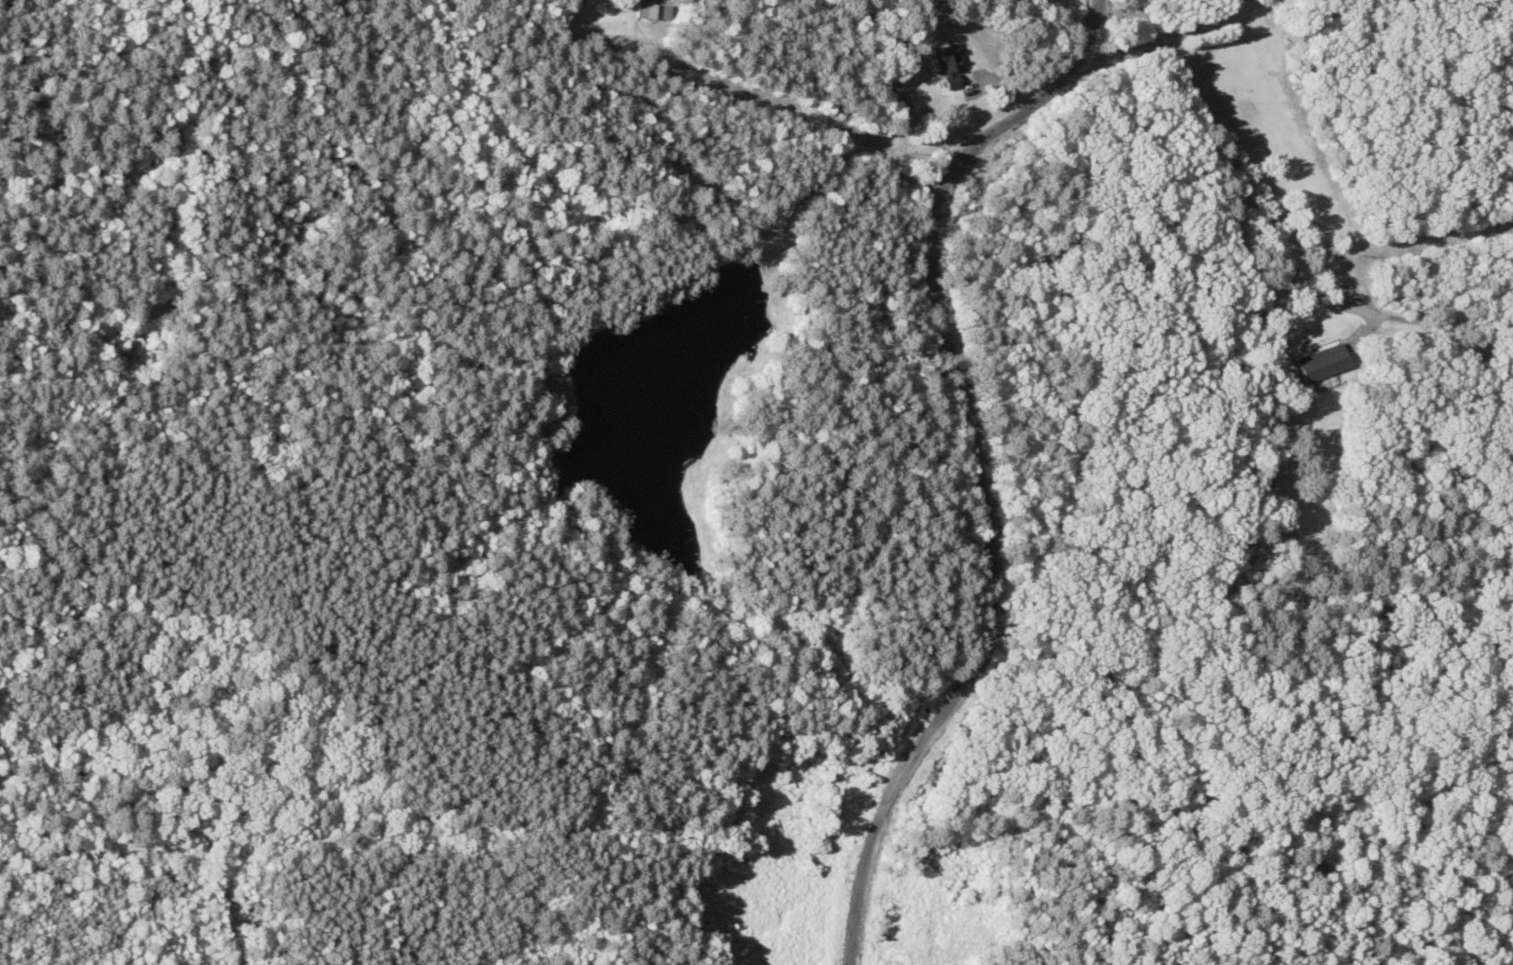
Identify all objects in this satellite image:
building: (651, 11)
road: (1067, 18)
building: (943, 55)
building: (945, 80)
road: (1262, 226)
building: (1317, 362)
road: (985, 466)
building: (1262, 469)

